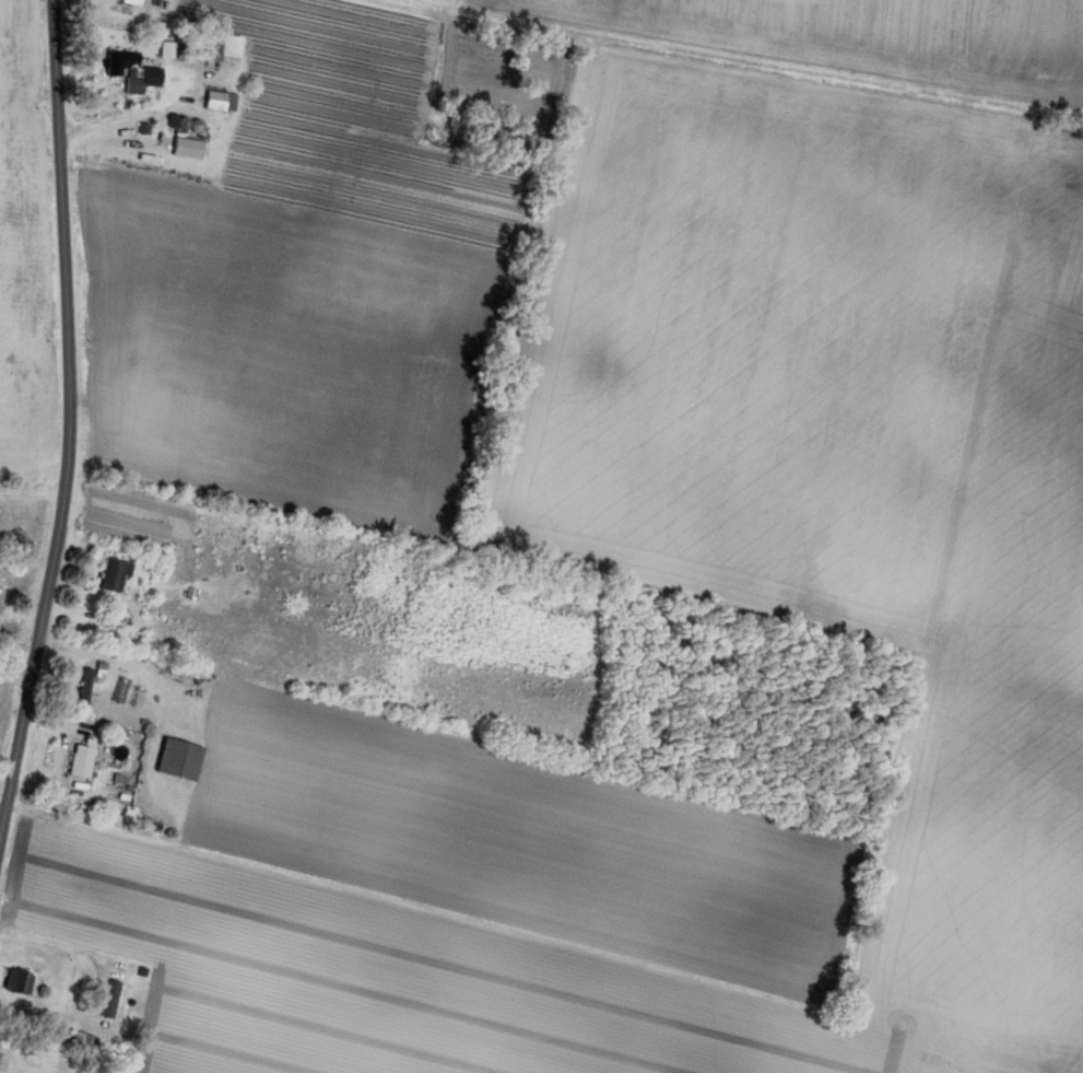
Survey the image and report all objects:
building: (129, 2)
building: (215, 45)
building: (127, 71)
building: (215, 101)
road: (125, 116)
building: (183, 147)
road: (69, 427)
building: (110, 573)
building: (81, 687)
building: (119, 690)
building: (174, 759)
building: (76, 761)
building: (14, 982)
building: (106, 999)
building: (79, 1039)

